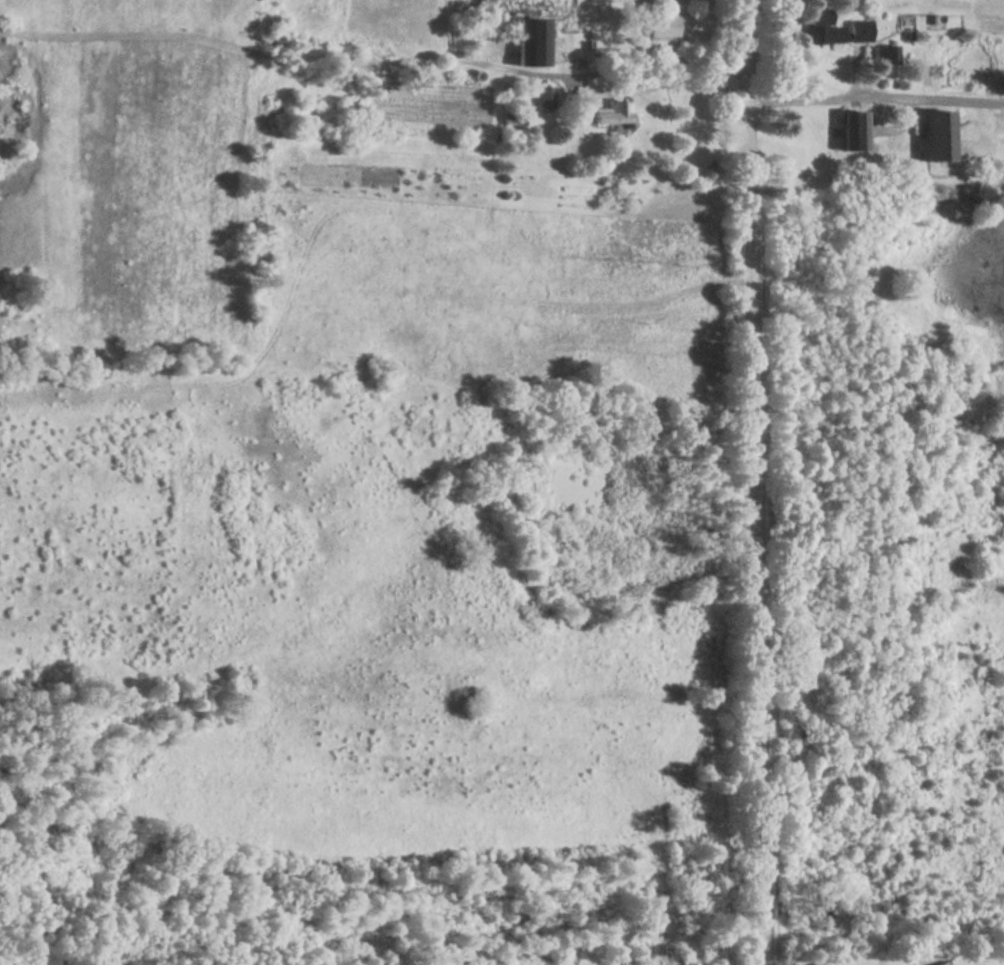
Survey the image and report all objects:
building: (663, 27)
building: (833, 30)
building: (531, 43)
road: (644, 82)
road: (876, 105)
building: (612, 114)
building: (854, 133)
building: (939, 138)
road: (756, 482)

